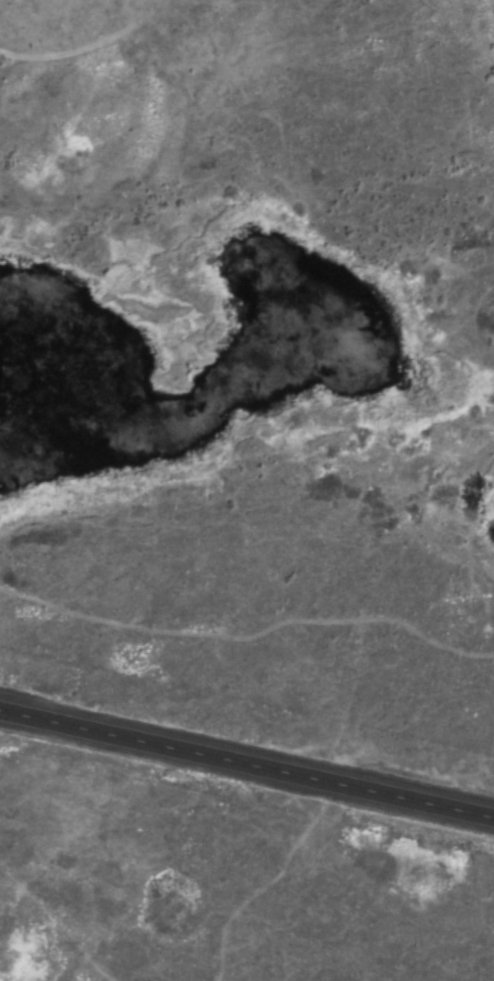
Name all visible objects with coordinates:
road: (247, 770)

